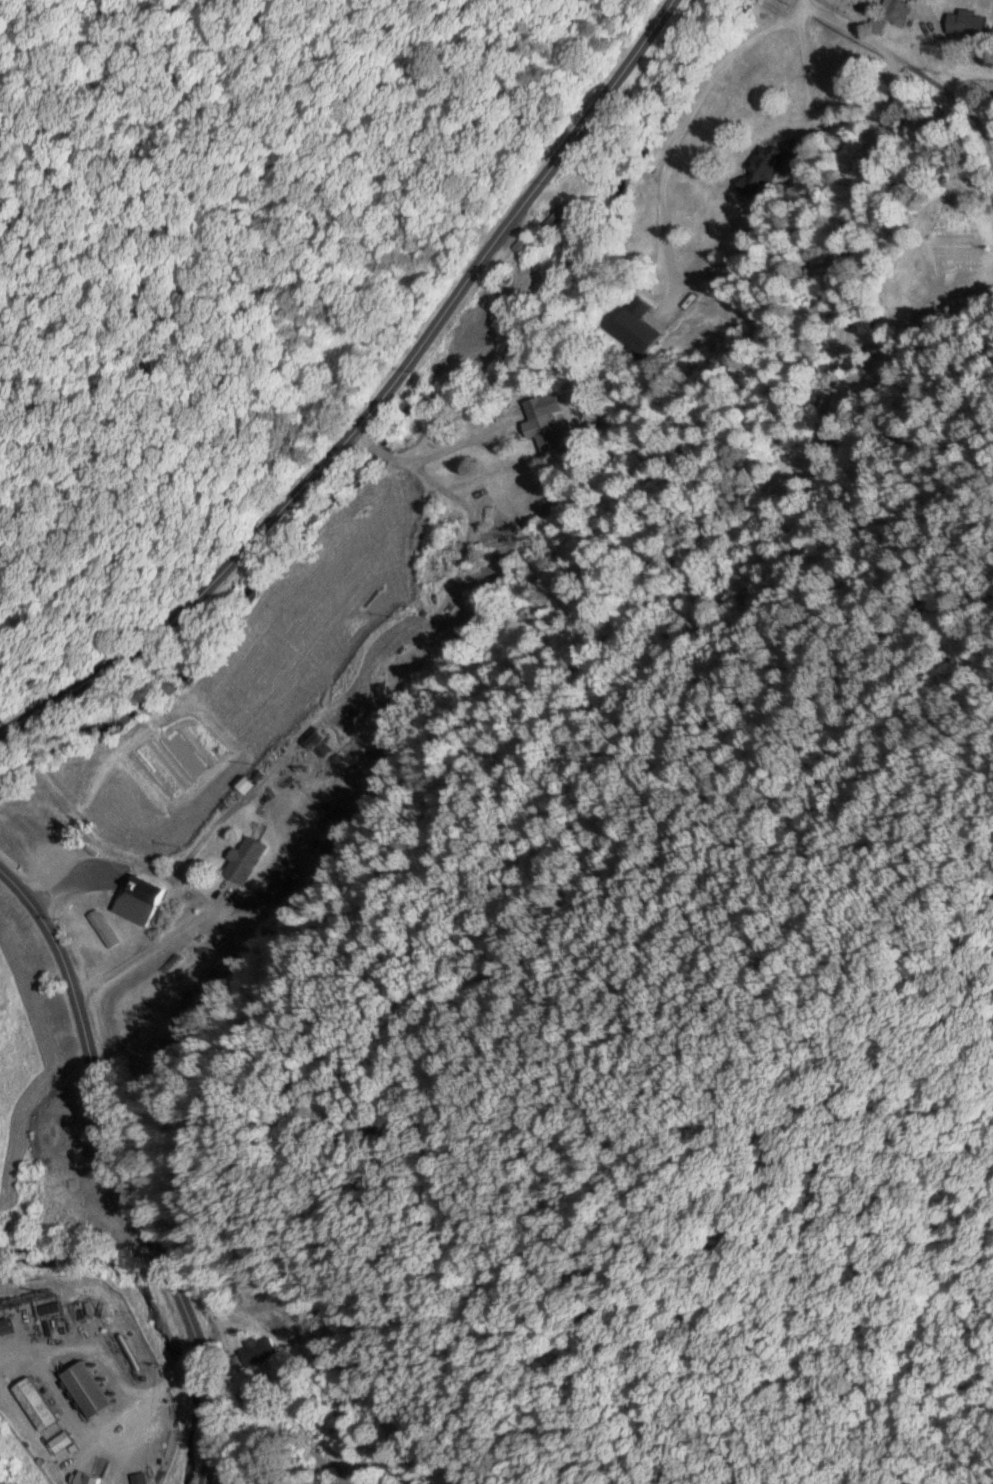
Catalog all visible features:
building: (891, 9)
building: (964, 23)
road: (404, 92)
building: (756, 170)
building: (557, 213)
building: (520, 245)
building: (634, 323)
road: (337, 376)
building: (539, 430)
road: (480, 463)
building: (241, 858)
road: (398, 1018)
road: (135, 1179)
building: (256, 1349)
building: (82, 1387)
building: (32, 1402)
building: (84, 1478)

